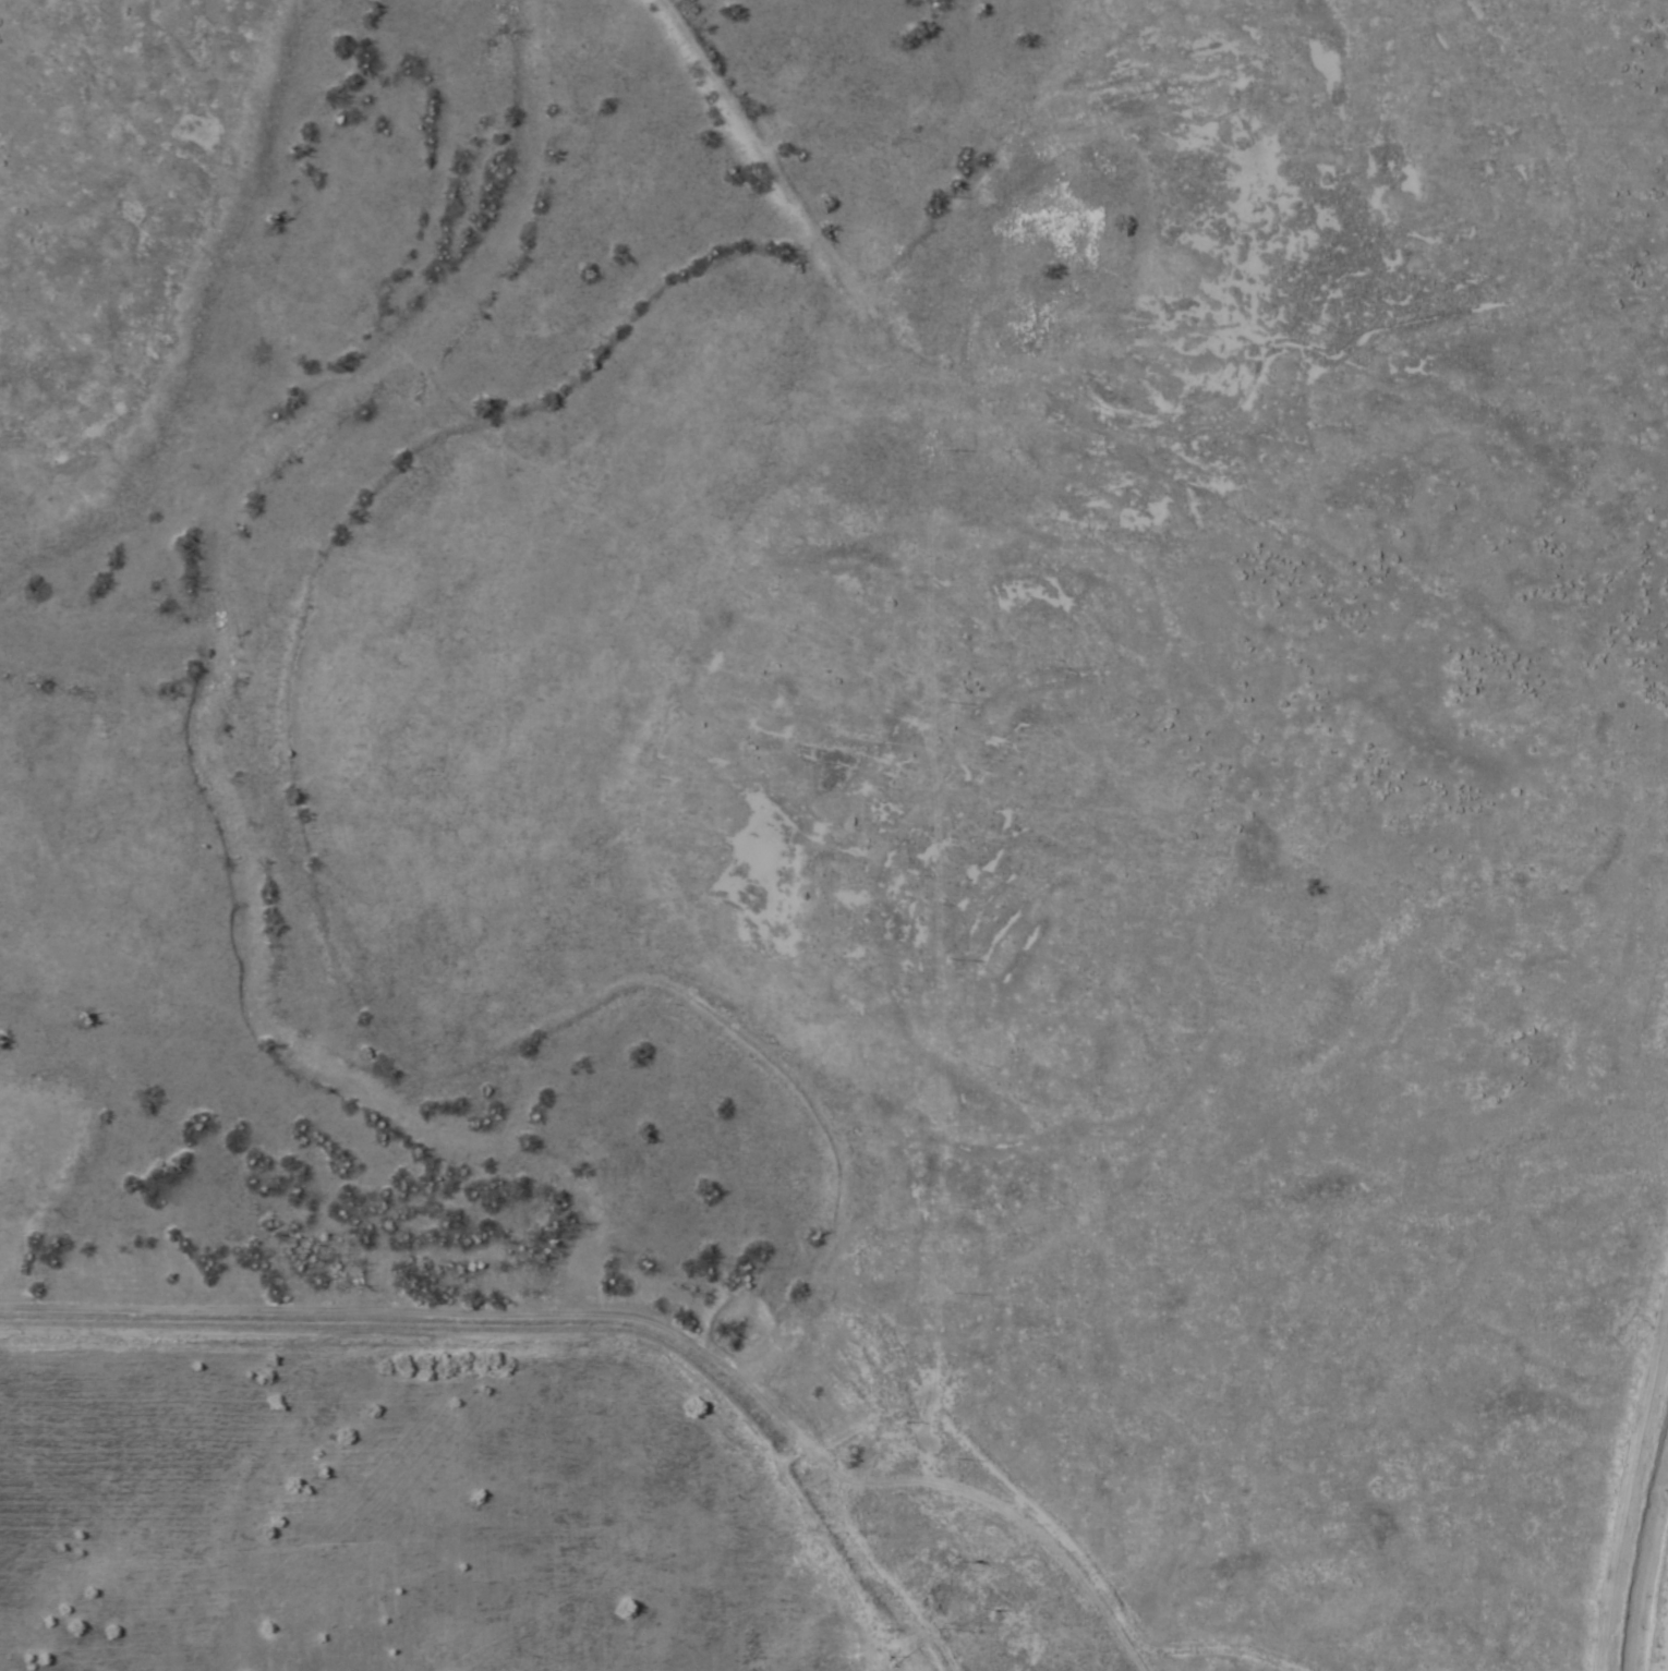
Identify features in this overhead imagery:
road: (1330, 1388)
road: (1615, 1436)

